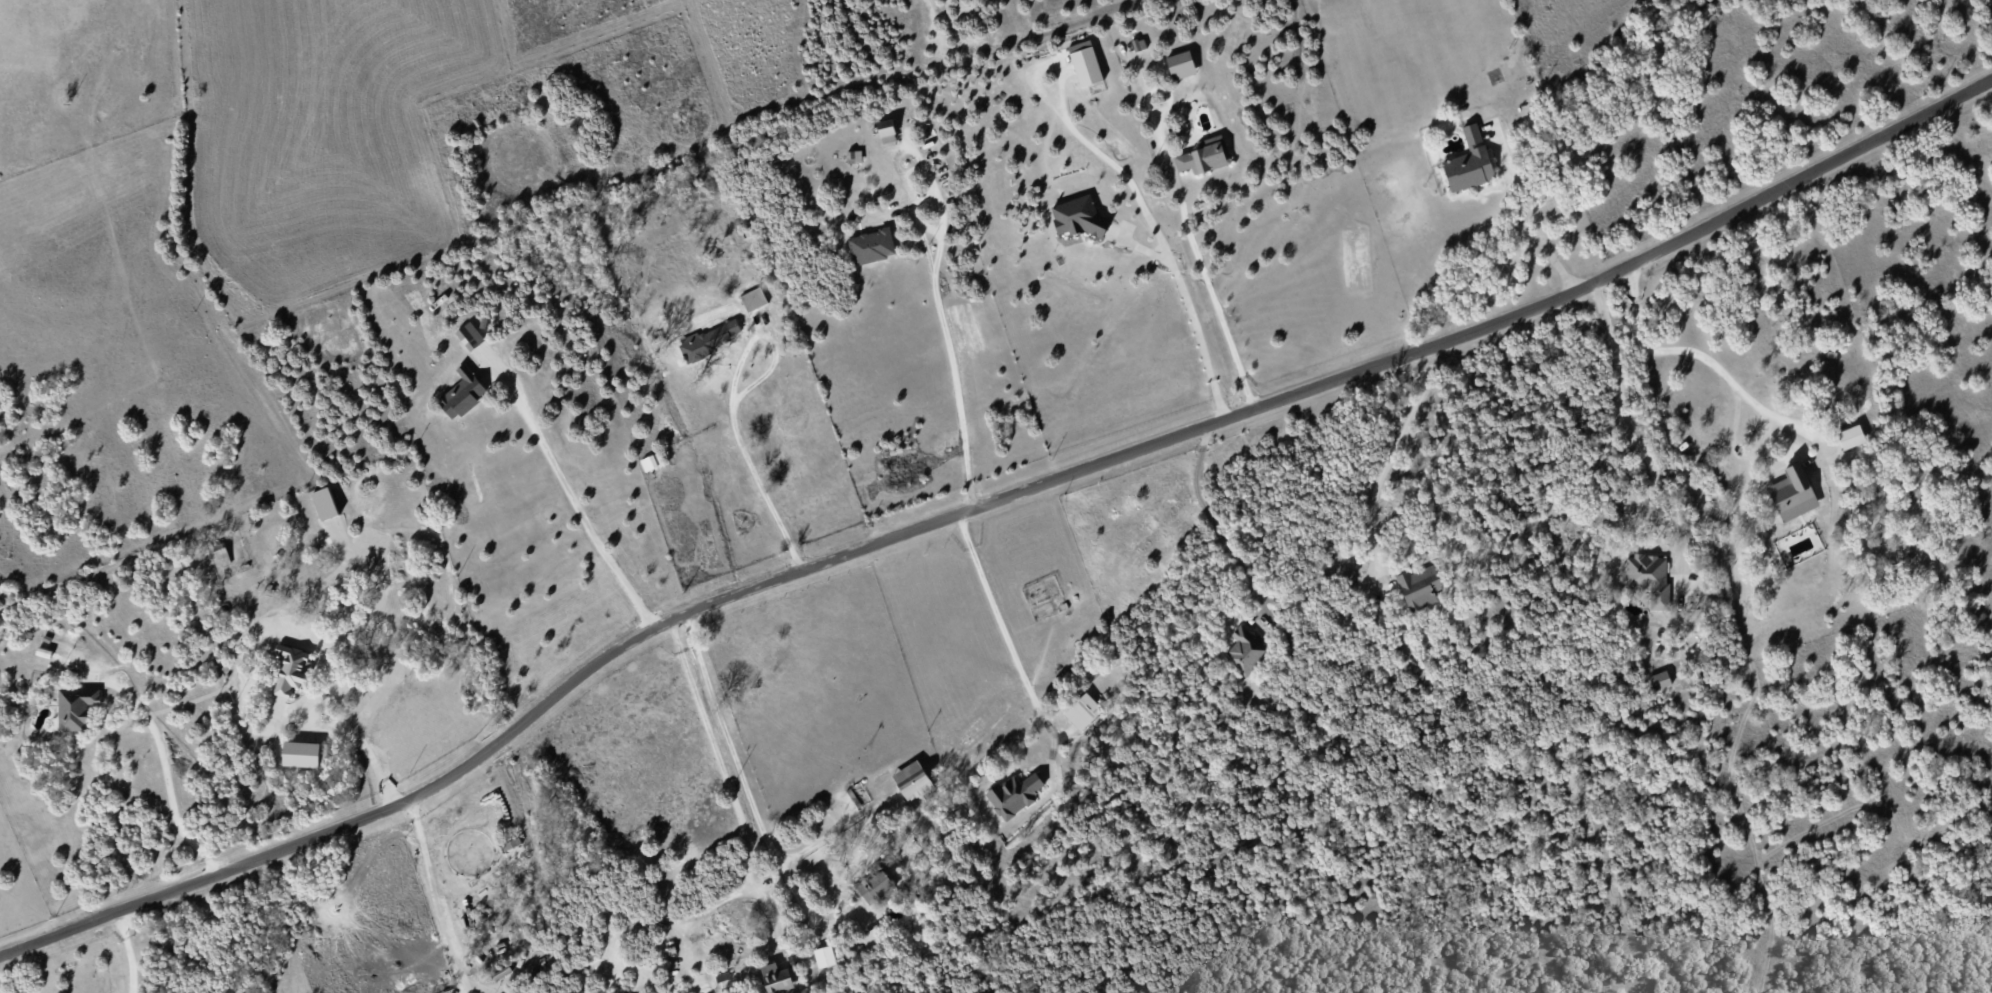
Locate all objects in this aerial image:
building: (1085, 63)
building: (1181, 64)
building: (887, 131)
road: (1086, 139)
building: (1205, 155)
building: (854, 156)
building: (1469, 162)
road: (1530, 204)
building: (1077, 216)
building: (872, 245)
road: (1210, 287)
building: (754, 299)
road: (1190, 309)
building: (711, 338)
road: (952, 361)
road: (1728, 376)
building: (463, 392)
road: (733, 407)
road: (1631, 432)
building: (1851, 436)
road: (1389, 460)
building: (651, 461)
building: (1792, 493)
road: (573, 500)
building: (325, 503)
road: (986, 504)
road: (1212, 519)
building: (222, 553)
building: (1650, 579)
building: (1419, 587)
road: (1007, 643)
building: (1245, 651)
building: (290, 670)
building: (1660, 680)
building: (76, 707)
building: (1083, 711)
road: (344, 727)
building: (304, 753)
road: (167, 772)
road: (727, 780)
building: (914, 782)
road: (748, 792)
building: (1014, 794)
building: (511, 844)
building: (876, 885)
road: (438, 896)
building: (872, 938)
road: (128, 951)
building: (824, 956)
building: (776, 977)

